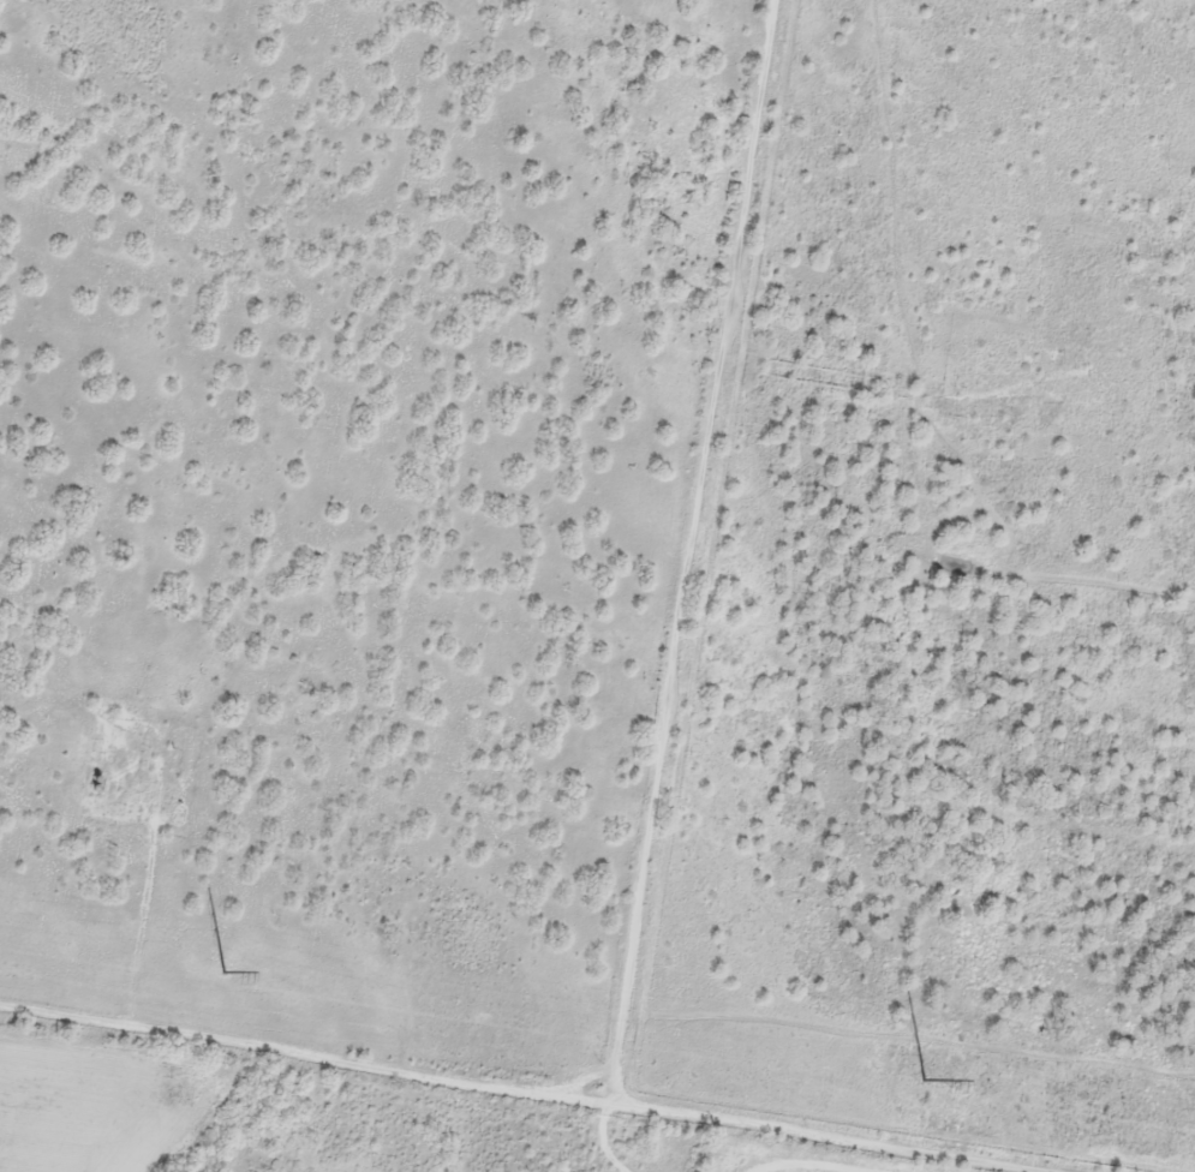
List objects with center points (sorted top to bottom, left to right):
road: (676, 701)
power tower: (223, 971)
power tower: (924, 1080)
road: (25, 1102)
road: (724, 1167)

